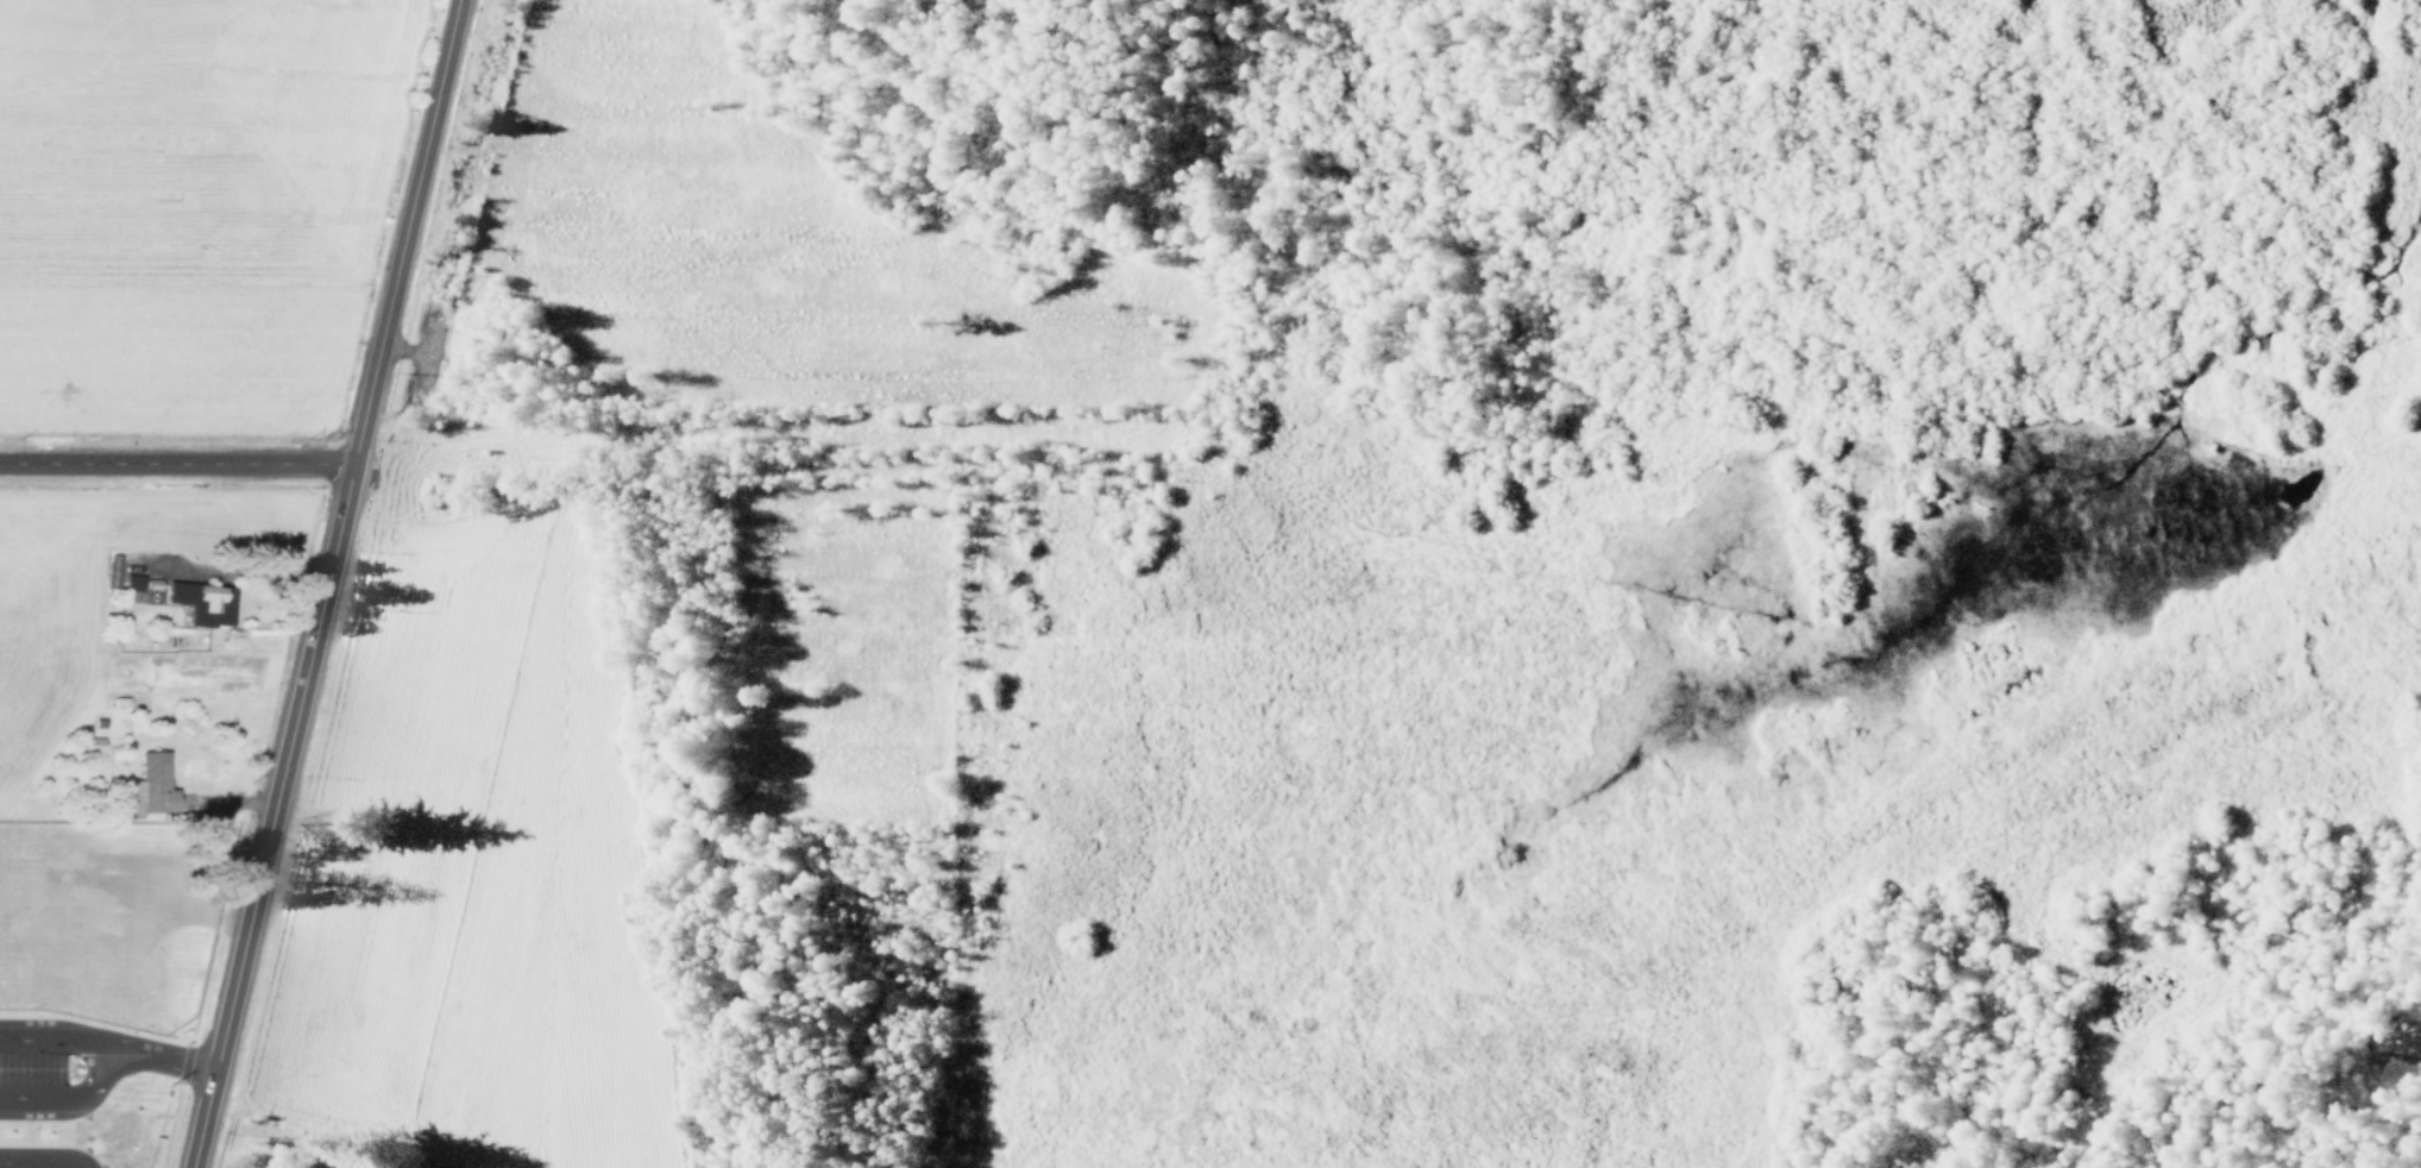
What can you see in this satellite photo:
crop: (203, 209)
road: (1081, 400)
road: (175, 461)
road: (2383, 540)
building: (131, 582)
road: (322, 584)
building: (203, 602)
crop: (46, 642)
building: (92, 743)
building: (156, 783)
road: (58, 820)
crop: (469, 853)
road: (20, 855)
parking lot: (117, 892)
building: (1, 897)
road: (120, 971)
road: (145, 977)
building: (68, 979)
road: (12, 992)
road: (59, 1041)
road: (71, 1054)
road: (13, 1103)
parking lot: (19, 1118)
road: (180, 1132)
road: (86, 1141)
road: (63, 1149)
road: (8, 1156)

